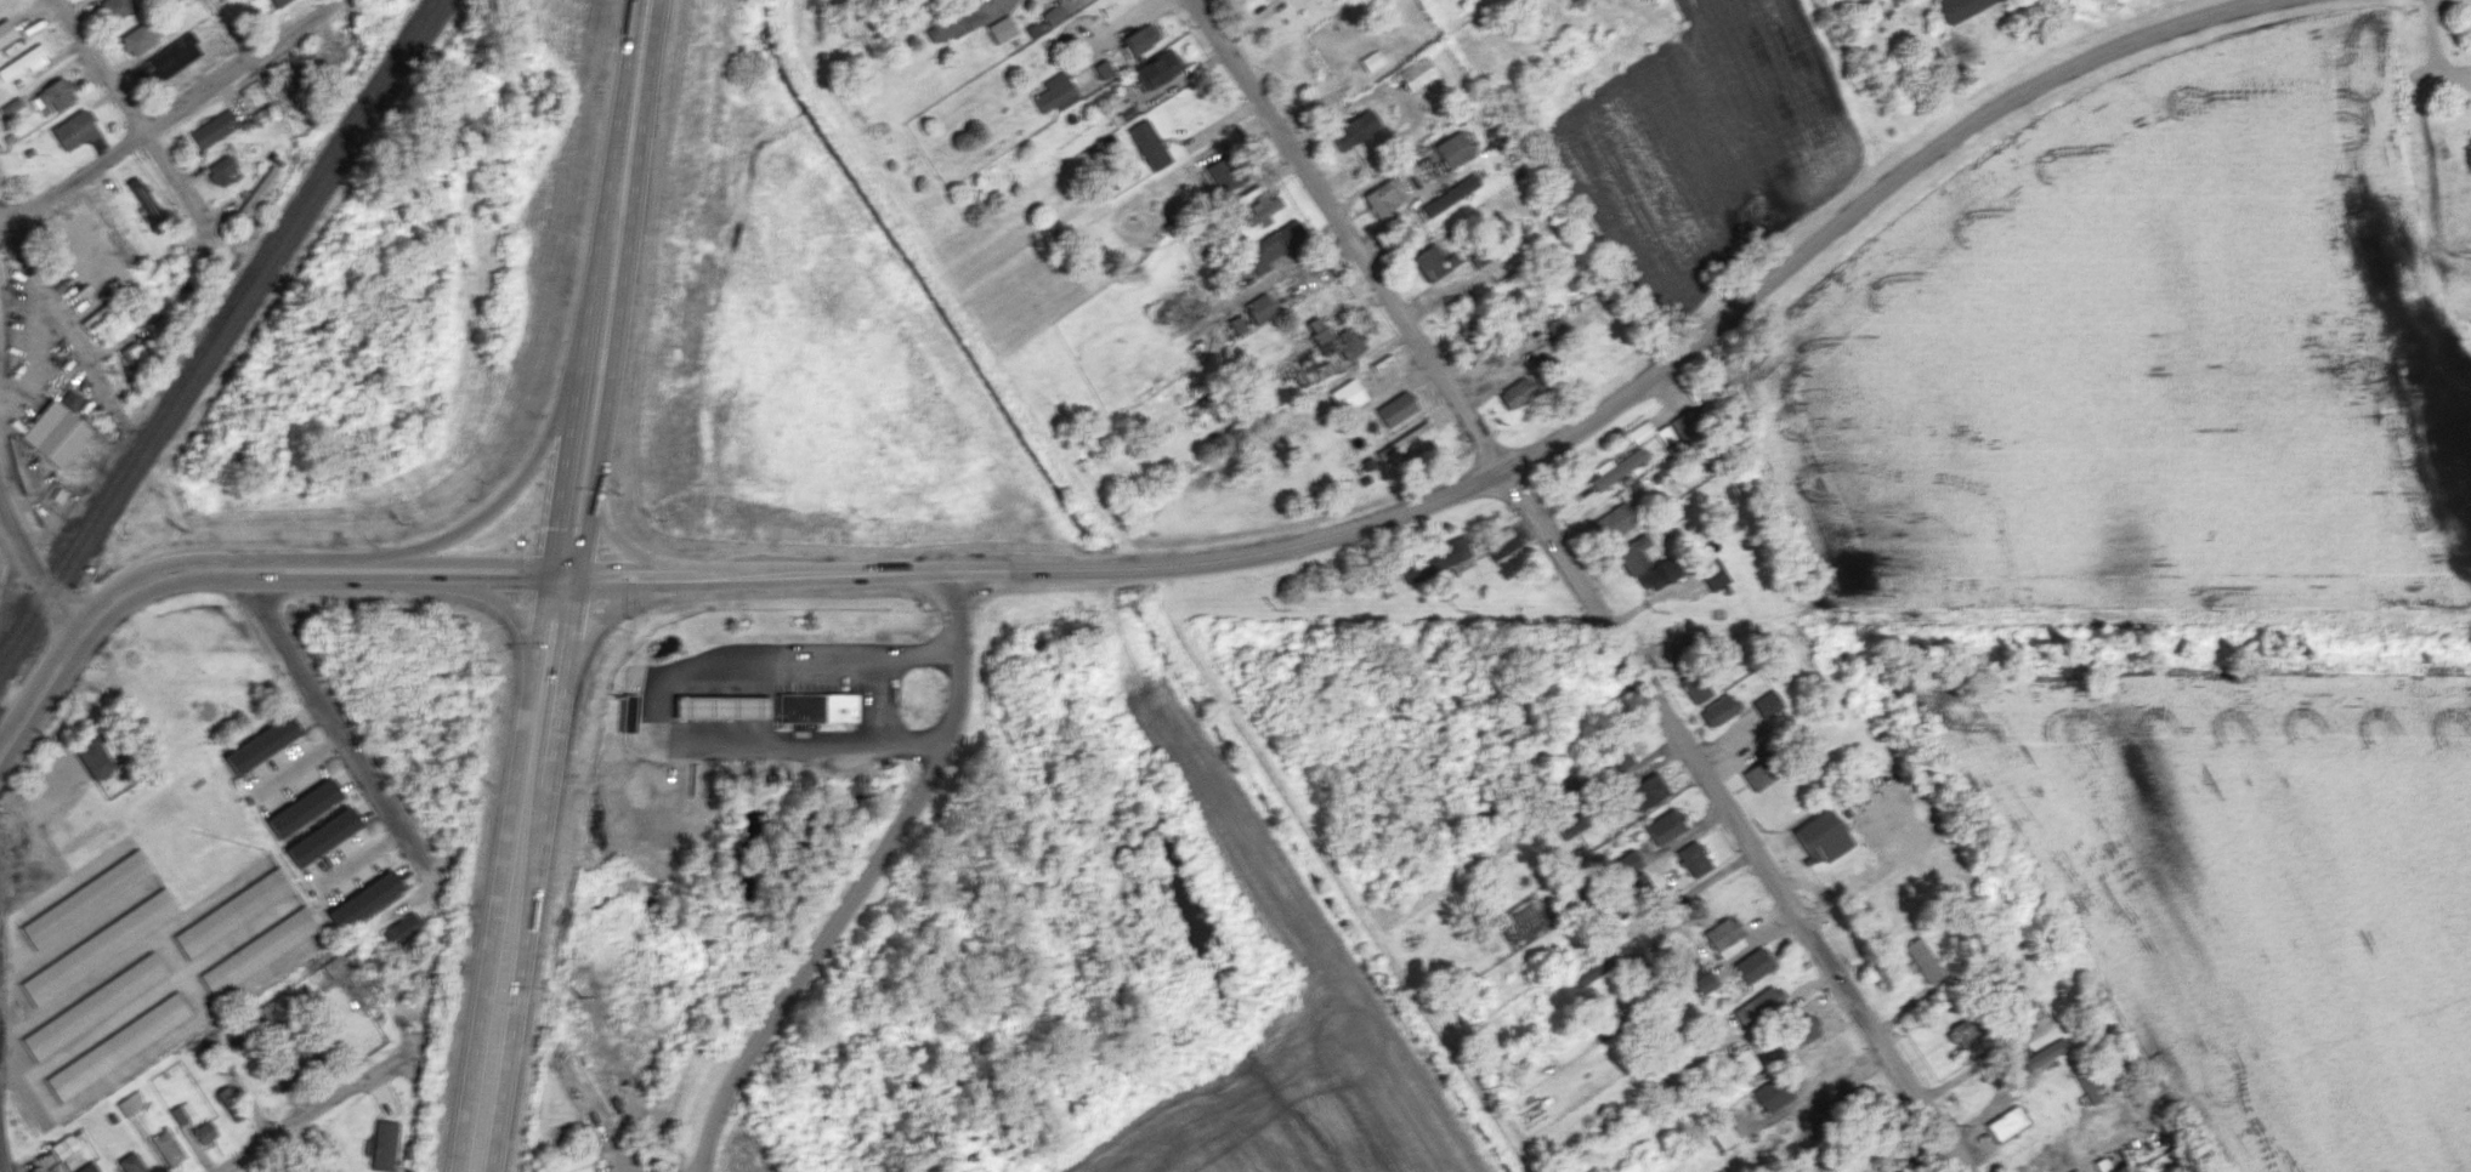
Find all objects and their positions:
building: (981, 0)
building: (1242, 1)
building: (277, 2)
building: (1961, 7)
building: (113, 8)
building: (1053, 15)
building: (951, 22)
building: (1001, 28)
building: (6, 32)
building: (1139, 38)
building: (136, 39)
road: (2431, 53)
building: (166, 59)
building: (1372, 59)
building: (23, 62)
building: (1103, 68)
building: (1157, 68)
building: (1416, 72)
building: (1055, 92)
building: (53, 93)
building: (12, 108)
building: (1122, 112)
road: (172, 114)
building: (212, 127)
building: (1354, 129)
building: (73, 130)
road: (144, 130)
building: (1149, 144)
building: (1453, 149)
building: (221, 170)
road: (608, 182)
road: (631, 183)
building: (257, 192)
building: (1450, 194)
building: (1383, 197)
building: (143, 199)
building: (1263, 207)
building: (1273, 245)
building: (1481, 255)
building: (1433, 262)
building: (1568, 273)
road: (47, 300)
building: (1259, 307)
building: (154, 312)
building: (1237, 324)
railway: (216, 328)
building: (1473, 331)
railway: (221, 337)
building: (1333, 338)
building: (132, 354)
building: (1515, 393)
building: (1347, 394)
building: (69, 399)
building: (1395, 408)
road: (597, 425)
building: (53, 432)
road: (1536, 453)
road: (567, 467)
building: (1615, 468)
road: (501, 494)
building: (1665, 516)
building: (1611, 522)
road: (584, 528)
road: (608, 539)
building: (1633, 554)
road: (300, 559)
road: (457, 559)
building: (1434, 559)
road: (34, 569)
road: (563, 571)
road: (617, 573)
building: (1712, 573)
road: (291, 580)
road: (449, 580)
road: (1585, 582)
road: (504, 603)
road: (605, 607)
road: (90, 618)
building: (1695, 685)
road: (656, 699)
building: (1768, 702)
building: (716, 706)
gas station: (716, 706)
building: (797, 706)
building: (838, 706)
water tower: (204, 709)
building: (1718, 710)
building: (625, 713)
road: (335, 724)
building: (260, 744)
building: (98, 758)
building: (1758, 775)
building: (1648, 790)
building: (299, 808)
building: (1666, 825)
building: (321, 836)
building: (1820, 837)
road: (35, 846)
building: (1694, 858)
building: (1627, 863)
road: (500, 871)
road: (534, 872)
road: (1878, 874)
road: (862, 881)
building: (1634, 882)
road: (1810, 884)
building: (86, 898)
building: (362, 899)
building: (233, 911)
building: (401, 928)
building: (1723, 932)
building: (98, 946)
building: (259, 950)
building: (1923, 960)
building: (1753, 965)
building: (1705, 982)
building: (1631, 1000)
road: (1787, 1005)
building: (93, 1006)
building: (1757, 1006)
building: (1803, 1029)
building: (1961, 1034)
building: (118, 1046)
building: (1742, 1063)
road: (1974, 1065)
building: (1773, 1093)
building: (130, 1103)
building: (231, 1103)
building: (1849, 1106)
road: (325, 1108)
building: (181, 1113)
building: (2007, 1122)
building: (1719, 1130)
building: (204, 1131)
building: (384, 1144)
road: (2067, 1144)
building: (166, 1147)
building: (66, 1151)
road: (2, 1160)
road: (1938, 1160)
building: (131, 1162)
building: (572, 1164)
building: (2107, 1165)
building: (87, 1167)
building: (2076, 1170)

